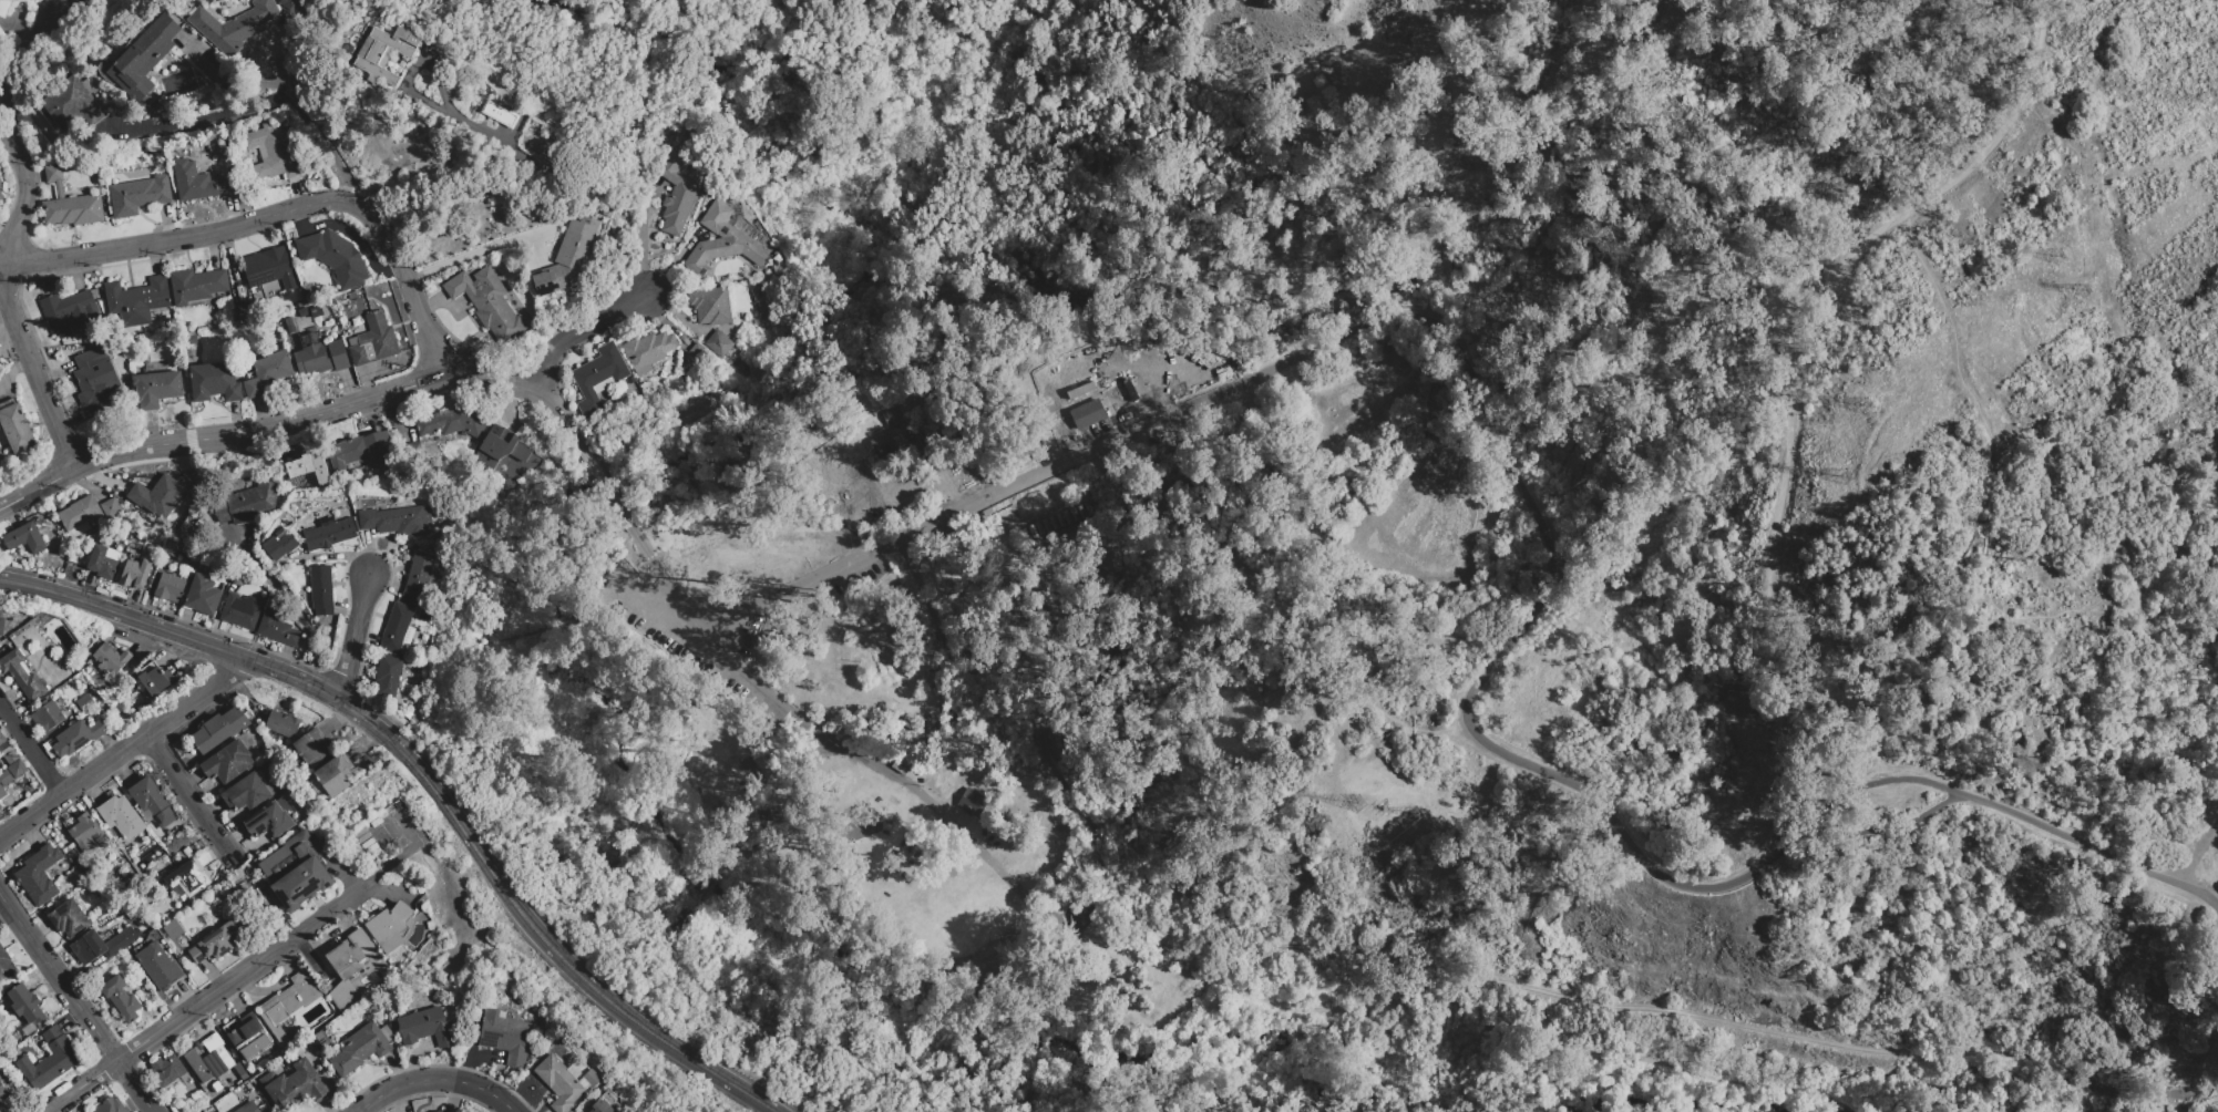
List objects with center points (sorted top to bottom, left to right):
building: (3, 7)
building: (292, 7)
building: (235, 25)
building: (2, 35)
building: (387, 53)
building: (145, 58)
road: (286, 81)
road: (267, 102)
building: (73, 105)
building: (501, 114)
building: (44, 126)
road: (490, 136)
building: (274, 152)
building: (0, 183)
building: (199, 183)
building: (678, 192)
building: (138, 195)
building: (1, 196)
building: (70, 204)
building: (692, 207)
road: (270, 217)
road: (16, 230)
road: (644, 239)
building: (720, 241)
road: (485, 247)
power tower: (2060, 249)
building: (335, 258)
building: (568, 258)
building: (269, 268)
building: (196, 285)
power tower: (2083, 291)
building: (136, 300)
building: (487, 302)
building: (711, 306)
building: (247, 310)
building: (68, 311)
building: (317, 311)
building: (302, 315)
building: (289, 325)
road: (581, 331)
building: (374, 341)
building: (717, 341)
building: (648, 350)
building: (698, 353)
building: (321, 358)
building: (267, 373)
building: (598, 378)
building: (94, 379)
building: (214, 382)
road: (1793, 382)
building: (604, 385)
building: (647, 388)
building: (156, 389)
power tower: (1873, 397)
building: (892, 416)
building: (1086, 416)
road: (296, 422)
building: (452, 423)
building: (17, 429)
building: (890, 442)
building: (500, 449)
building: (360, 451)
road: (591, 460)
building: (308, 466)
power tower: (1848, 480)
building: (161, 494)
building: (109, 504)
building: (246, 504)
building: (80, 513)
building: (398, 521)
building: (269, 528)
building: (79, 531)
building: (329, 534)
building: (24, 538)
building: (440, 539)
building: (279, 545)
building: (173, 548)
road: (648, 548)
building: (112, 555)
building: (102, 563)
building: (136, 574)
building: (419, 578)
building: (434, 580)
road: (793, 583)
building: (170, 587)
building: (321, 590)
building: (203, 596)
road: (291, 606)
building: (242, 610)
building: (424, 616)
building: (284, 620)
building: (1, 625)
building: (397, 627)
building: (277, 629)
road: (352, 638)
building: (405, 640)
road: (1509, 645)
building: (110, 658)
building: (21, 676)
building: (388, 676)
building: (154, 679)
building: (85, 703)
building: (47, 717)
building: (283, 724)
building: (219, 731)
building: (78, 737)
building: (2, 739)
building: (312, 749)
road: (31, 751)
road: (123, 751)
building: (228, 764)
building: (17, 769)
building: (333, 775)
building: (3, 782)
road: (428, 784)
building: (246, 793)
road: (189, 794)
building: (153, 801)
road: (922, 801)
building: (973, 803)
building: (0, 807)
power tower: (1415, 814)
building: (121, 816)
park: (825, 817)
power tower: (1334, 818)
building: (269, 822)
park: (770, 826)
road: (1877, 830)
building: (89, 834)
building: (186, 851)
road: (2191, 859)
building: (39, 875)
building: (302, 875)
building: (188, 878)
road: (2217, 900)
building: (1081, 912)
building: (69, 919)
building: (389, 926)
building: (172, 930)
building: (219, 939)
building: (102, 945)
road: (1285, 946)
building: (6, 966)
building: (158, 966)
building: (350, 967)
building: (121, 998)
building: (290, 999)
road: (204, 1001)
road: (76, 1003)
building: (25, 1005)
building: (427, 1027)
building: (544, 1028)
building: (52, 1034)
building: (505, 1037)
building: (249, 1038)
building: (319, 1040)
building: (361, 1049)
building: (209, 1060)
building: (49, 1064)
building: (167, 1070)
building: (574, 1071)
building: (592, 1078)
road: (435, 1081)
road: (1955, 1082)
building: (559, 1083)
building: (585, 1083)
building: (294, 1085)
building: (4, 1088)
building: (247, 1093)
building: (111, 1106)
building: (248, 1108)
building: (602, 1108)
building: (439, 1111)

